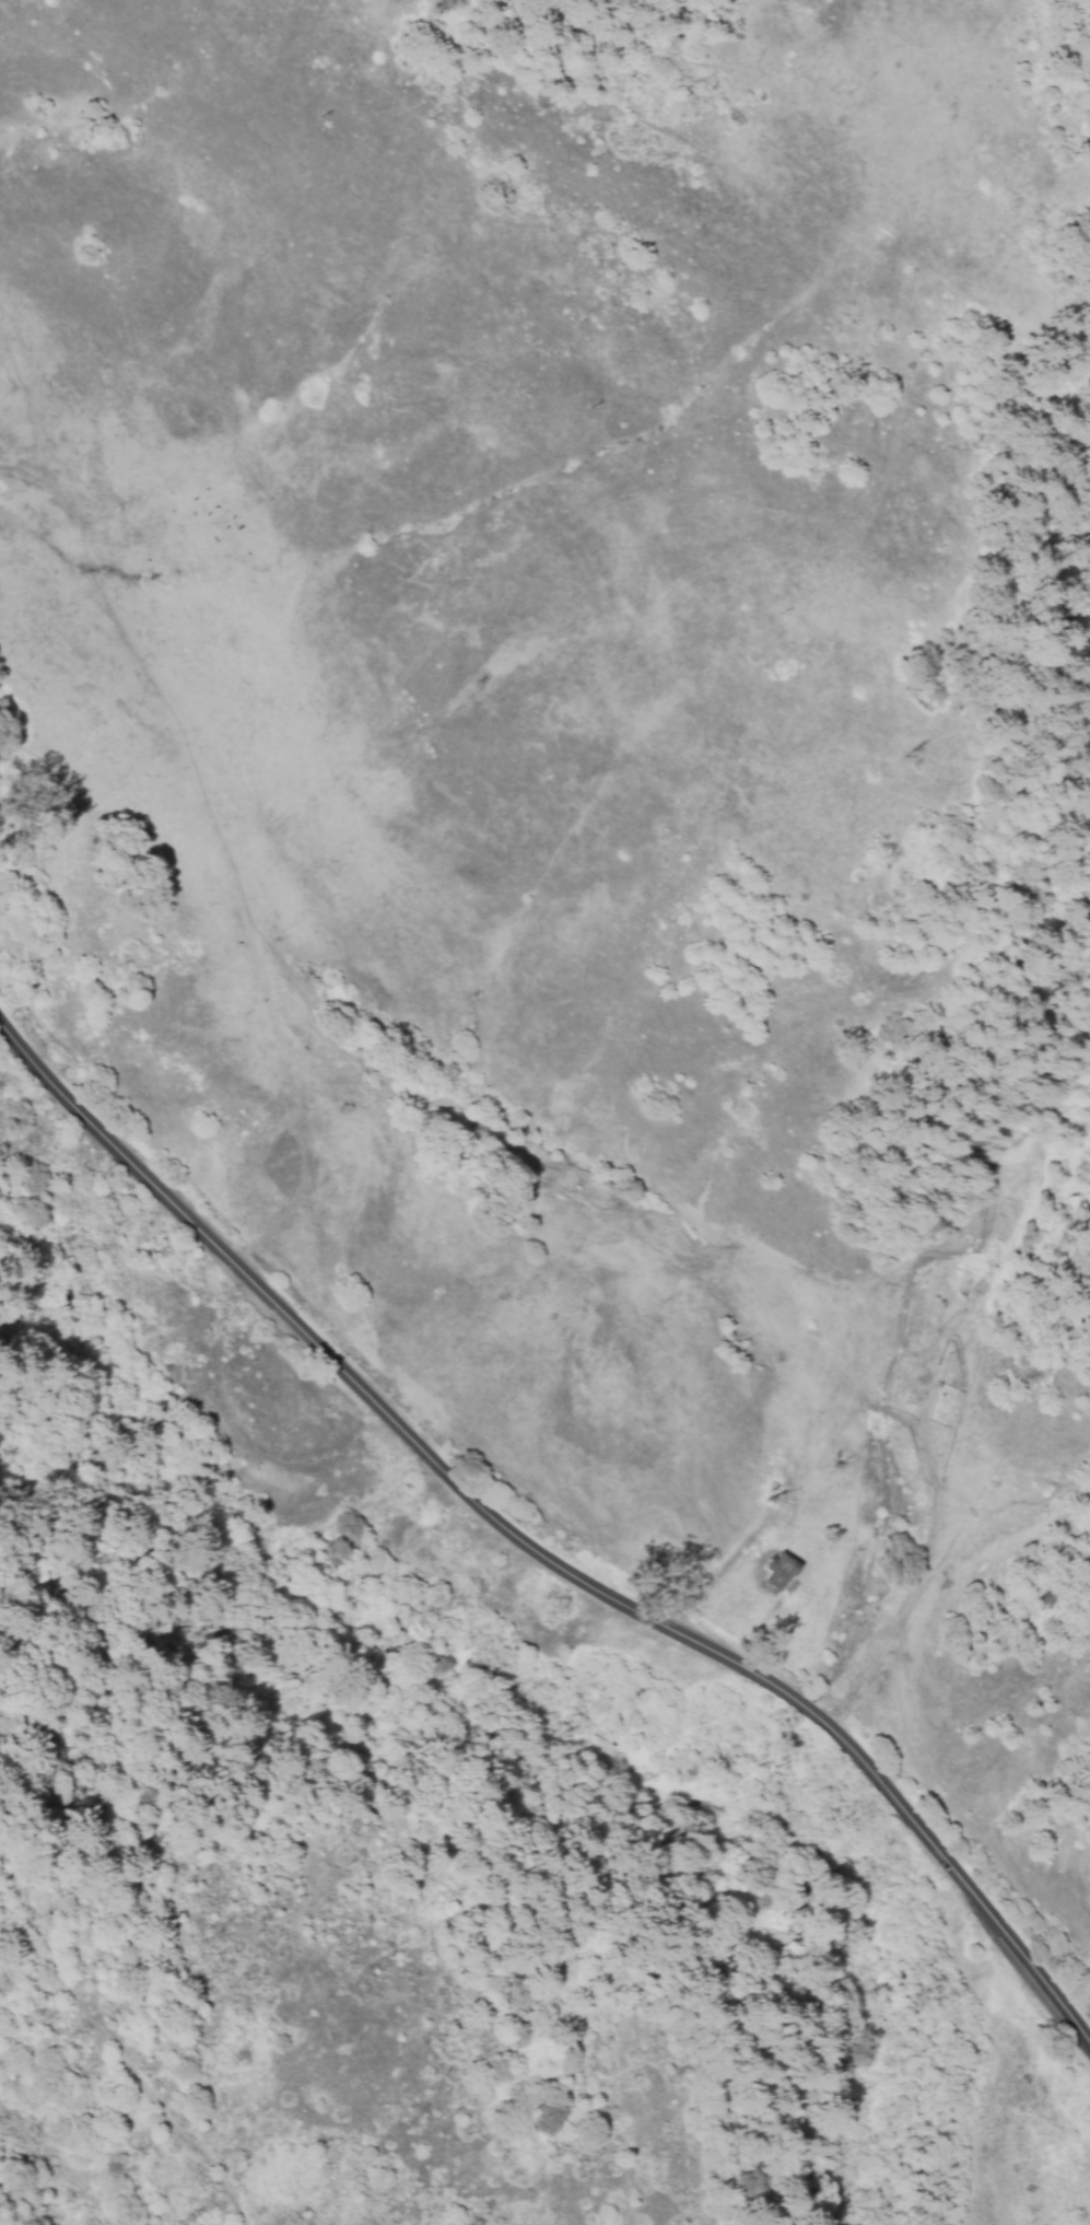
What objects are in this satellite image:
road: (497, 582)
road: (112, 1146)
road: (680, 1636)
road: (117, 2046)

